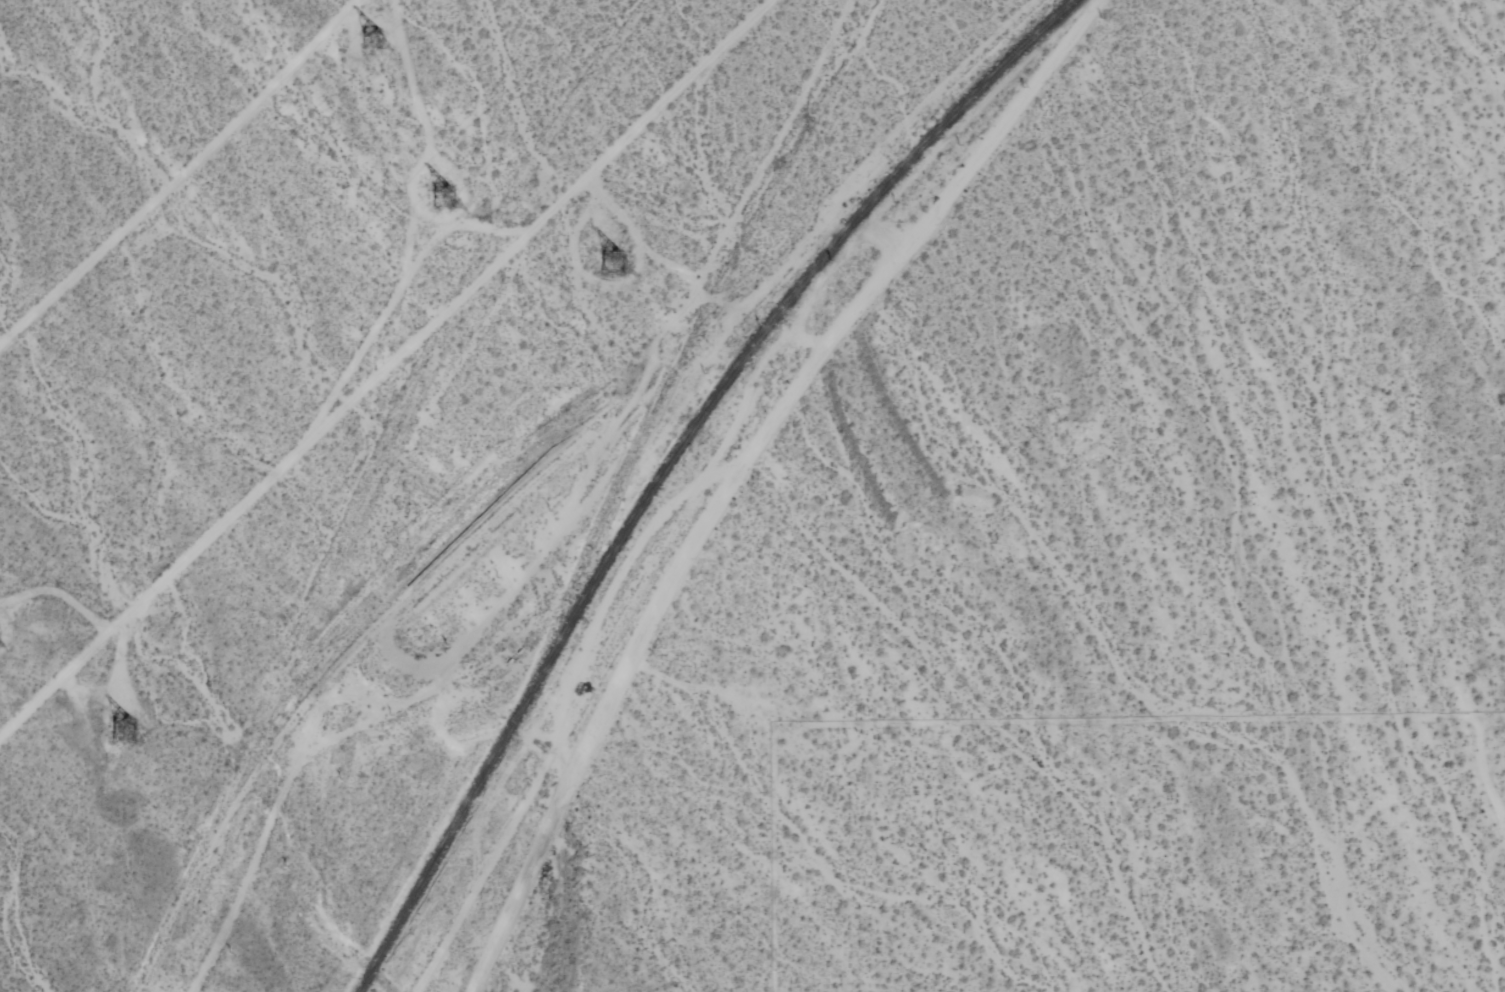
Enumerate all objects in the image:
power tower: (379, 42)
road: (862, 171)
power tower: (440, 204)
power tower: (604, 270)
railway: (765, 325)
road: (384, 365)
road: (740, 467)
road: (546, 527)
power tower: (124, 733)
railway: (437, 845)

